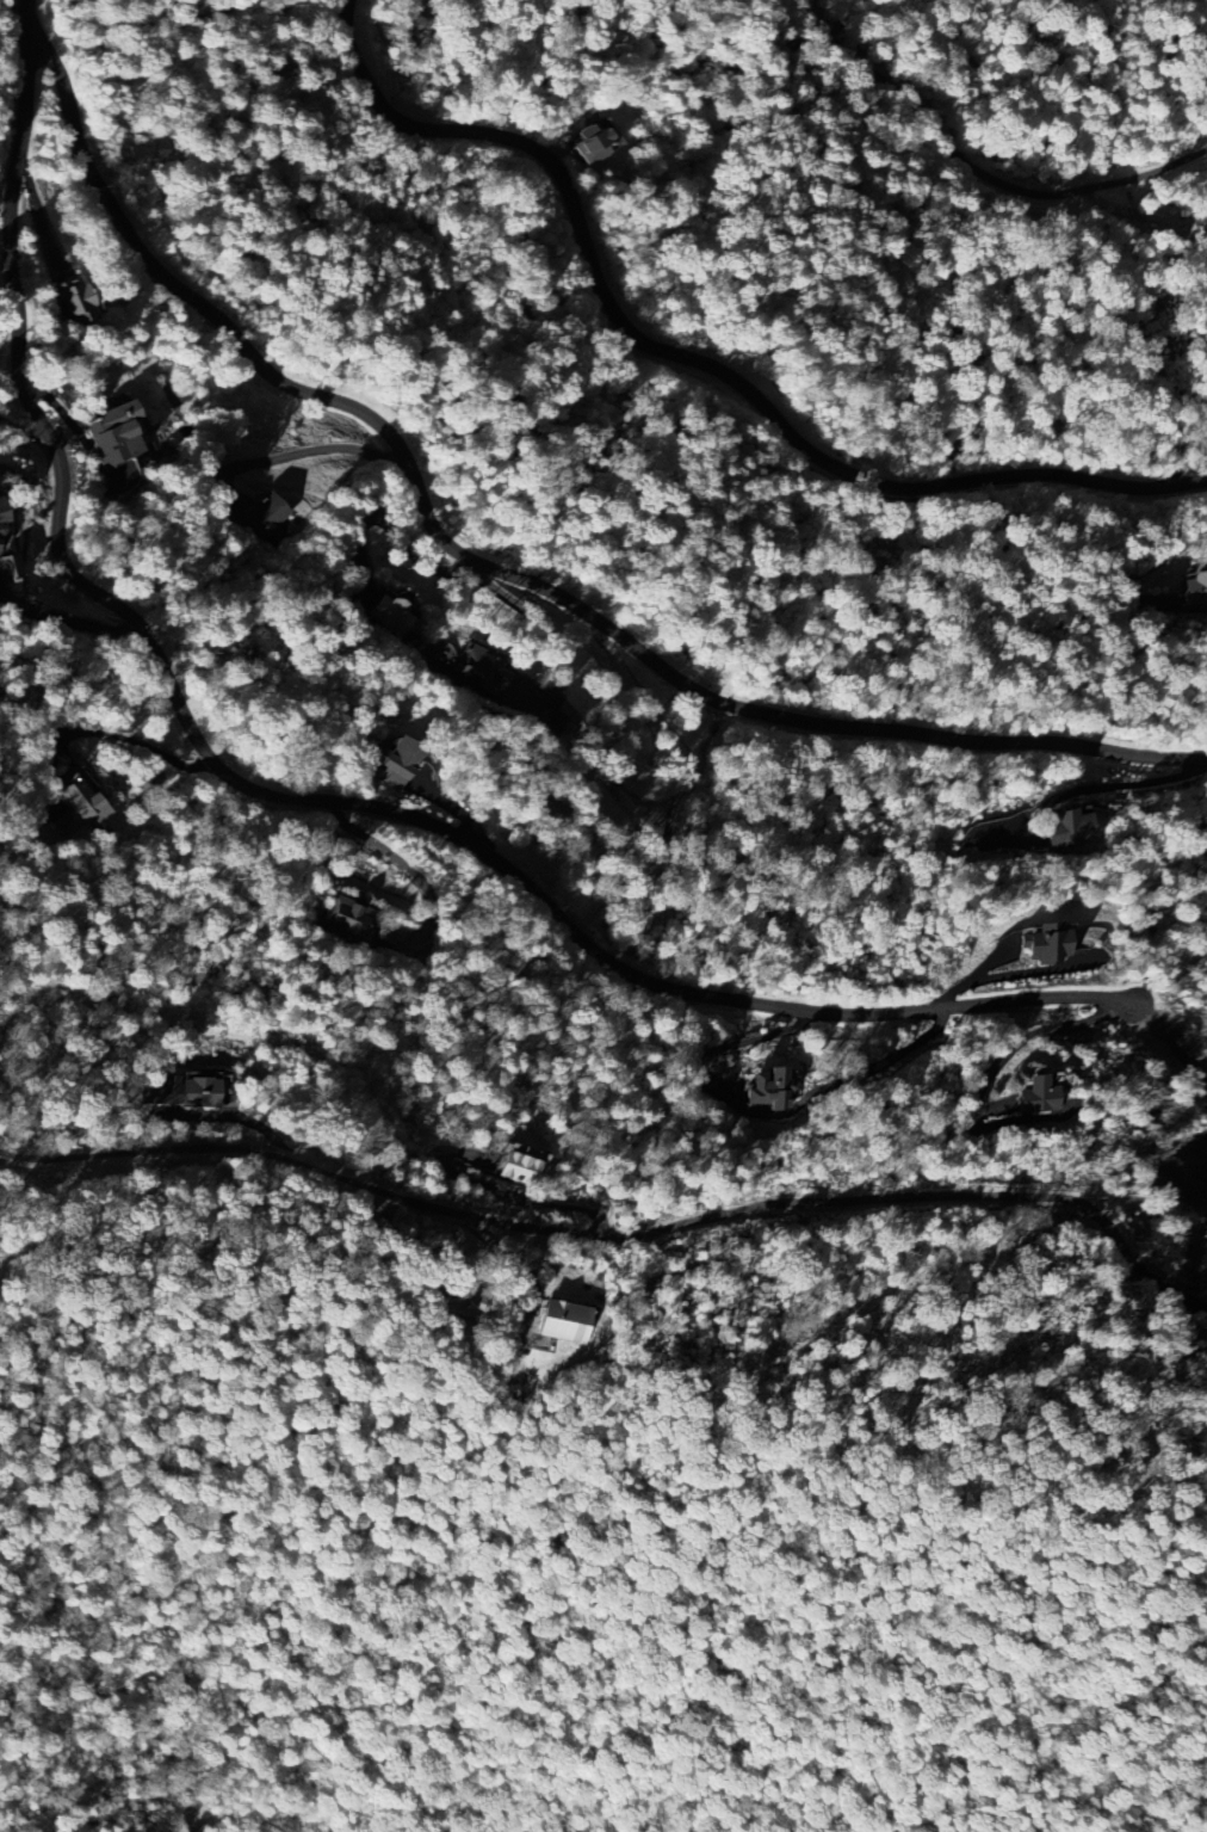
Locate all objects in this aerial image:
building: (584, 142)
road: (973, 166)
building: (76, 298)
road: (689, 364)
building: (107, 434)
building: (262, 513)
road: (506, 575)
building: (1194, 587)
building: (386, 612)
building: (481, 666)
road: (132, 739)
building: (392, 763)
road: (285, 796)
building: (74, 804)
building: (1065, 828)
building: (346, 920)
building: (388, 931)
building: (1044, 943)
building: (765, 1087)
building: (177, 1092)
building: (1036, 1092)
building: (520, 1164)
road: (619, 1239)
building: (464, 1301)
building: (559, 1320)

